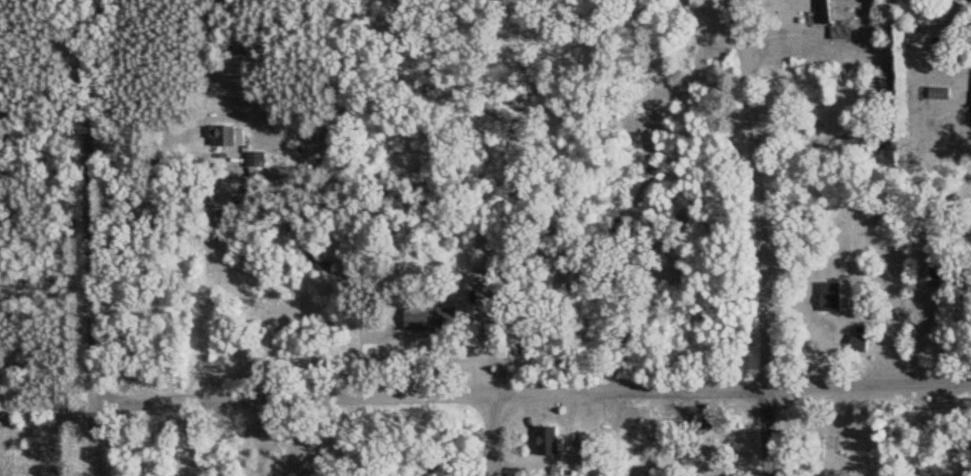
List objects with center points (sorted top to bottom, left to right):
building: (825, 12)
building: (841, 31)
building: (939, 94)
building: (227, 137)
road: (755, 244)
building: (830, 298)
road: (100, 308)
road: (484, 397)
road: (489, 436)
building: (549, 441)
building: (583, 441)

